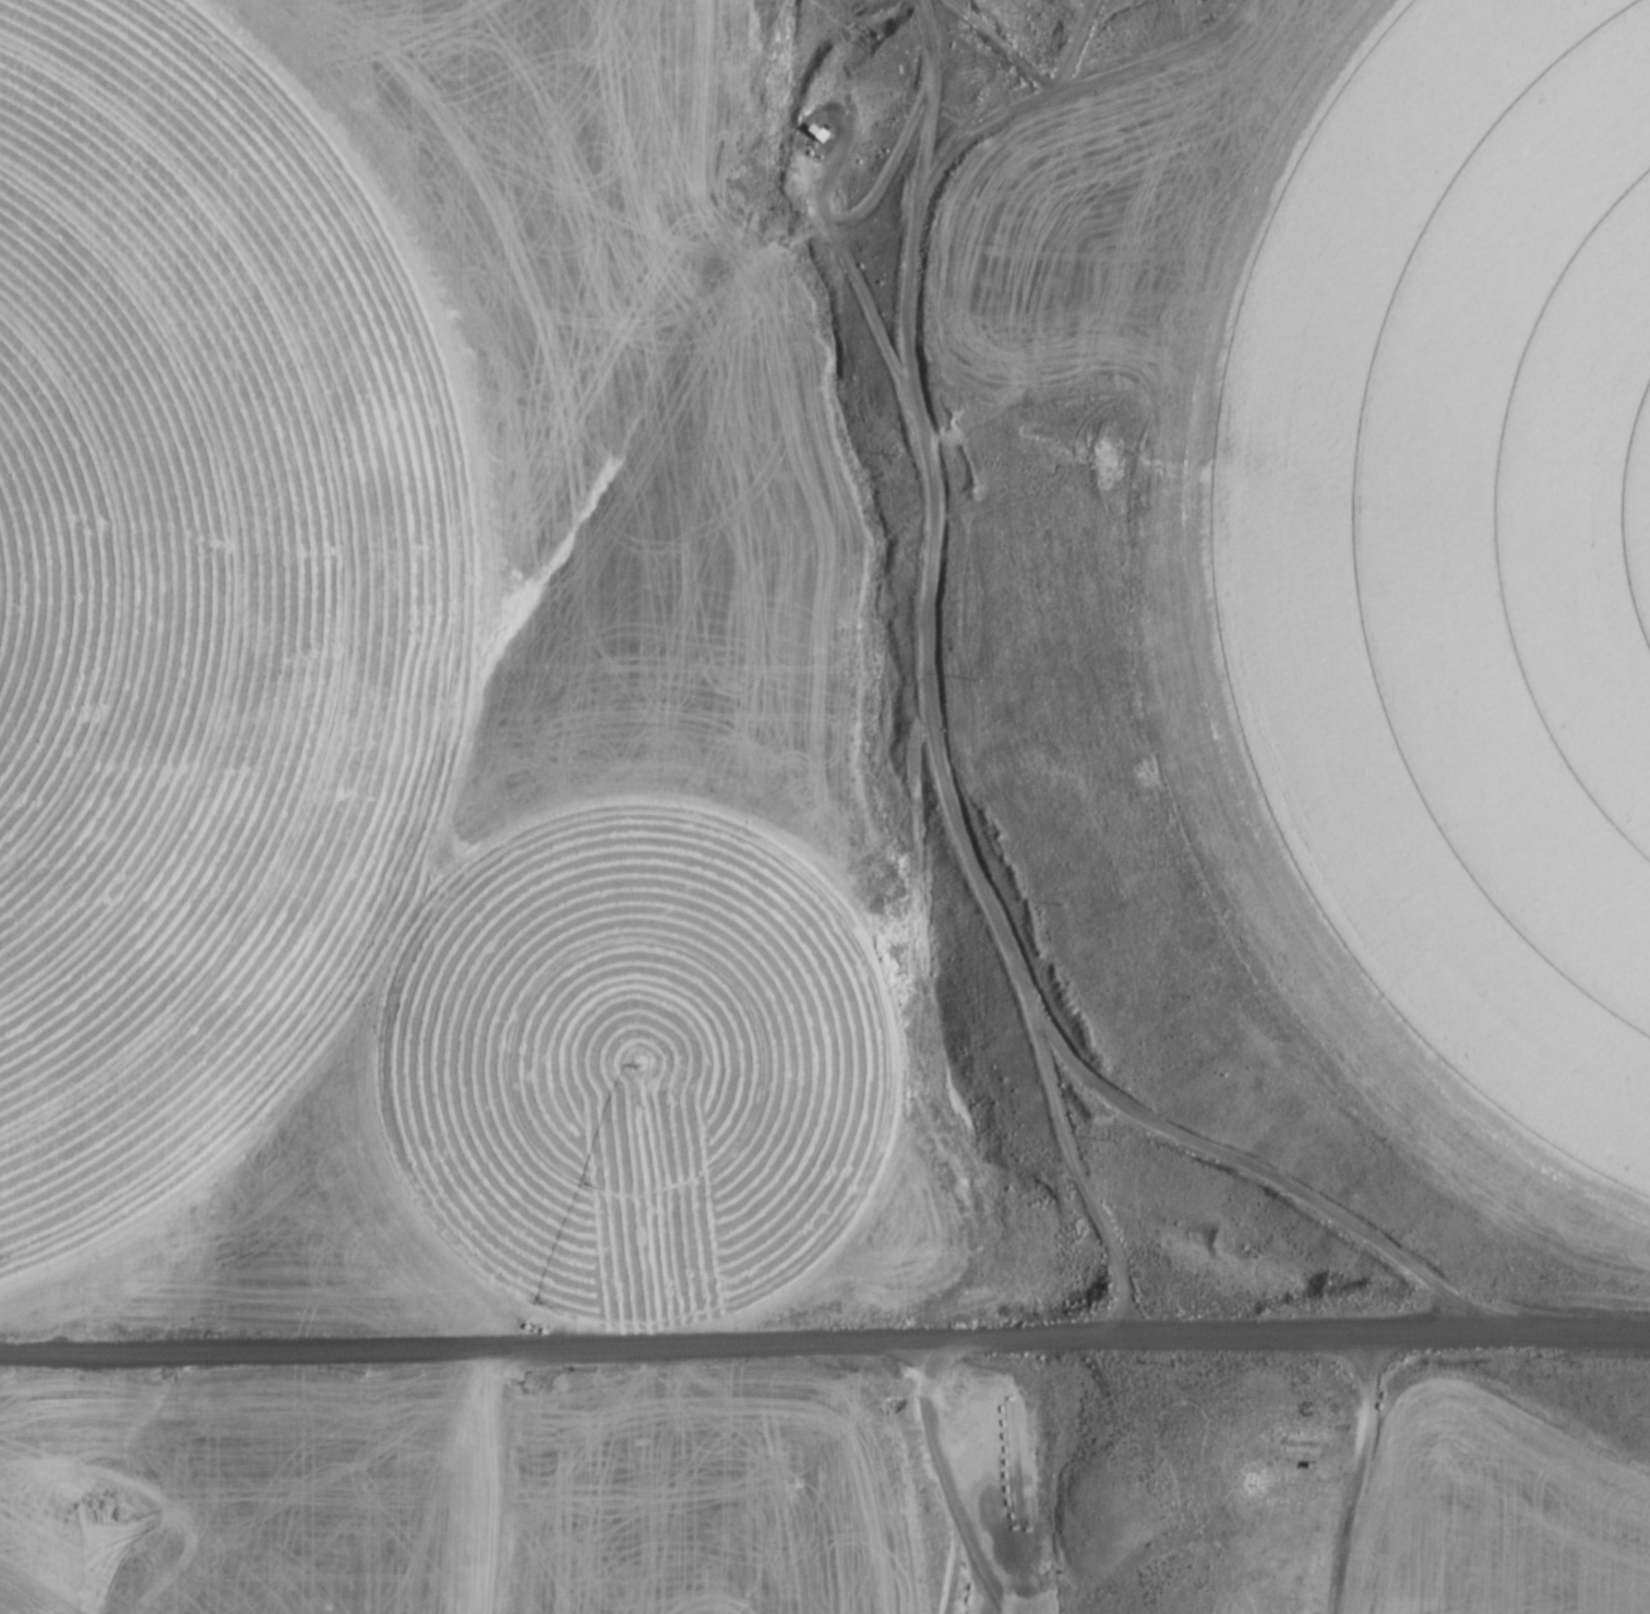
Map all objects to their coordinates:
building: (821, 138)
crop: (1467, 552)
crop: (205, 615)
crop: (649, 1067)
road: (824, 1349)
crop: (11, 1603)

